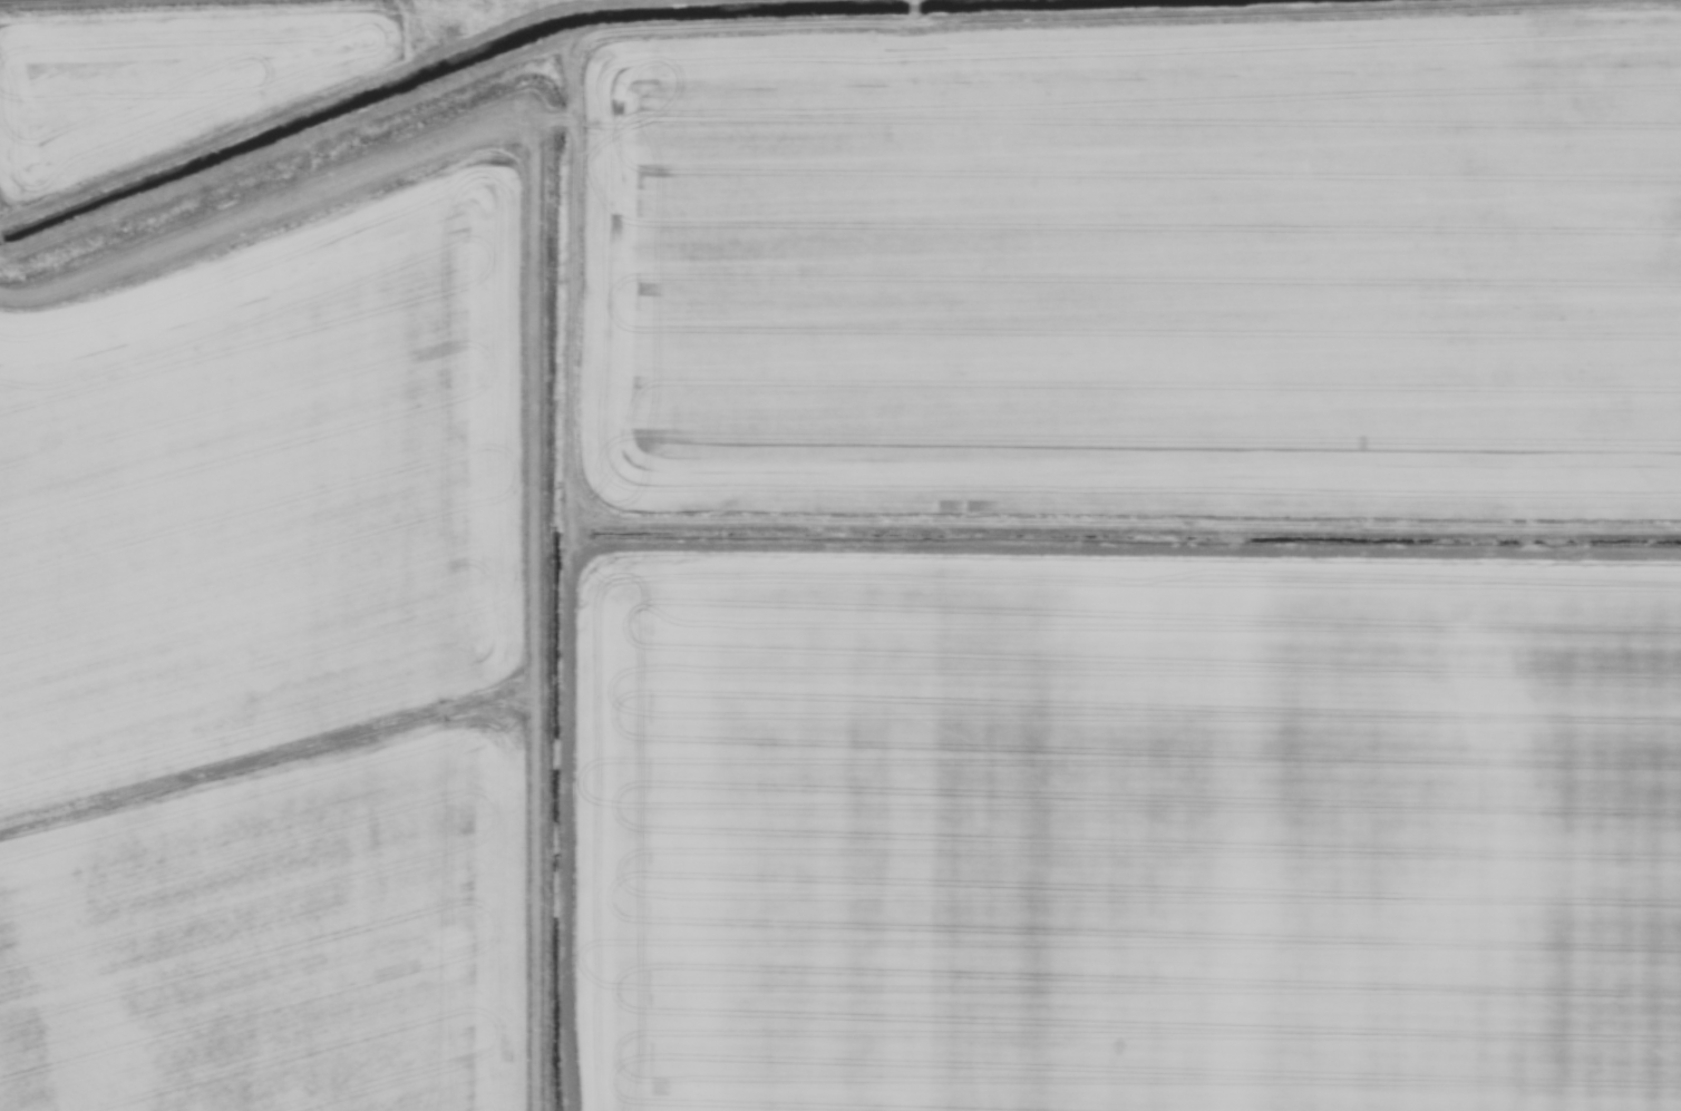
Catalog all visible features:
road: (266, 213)
road: (532, 613)

